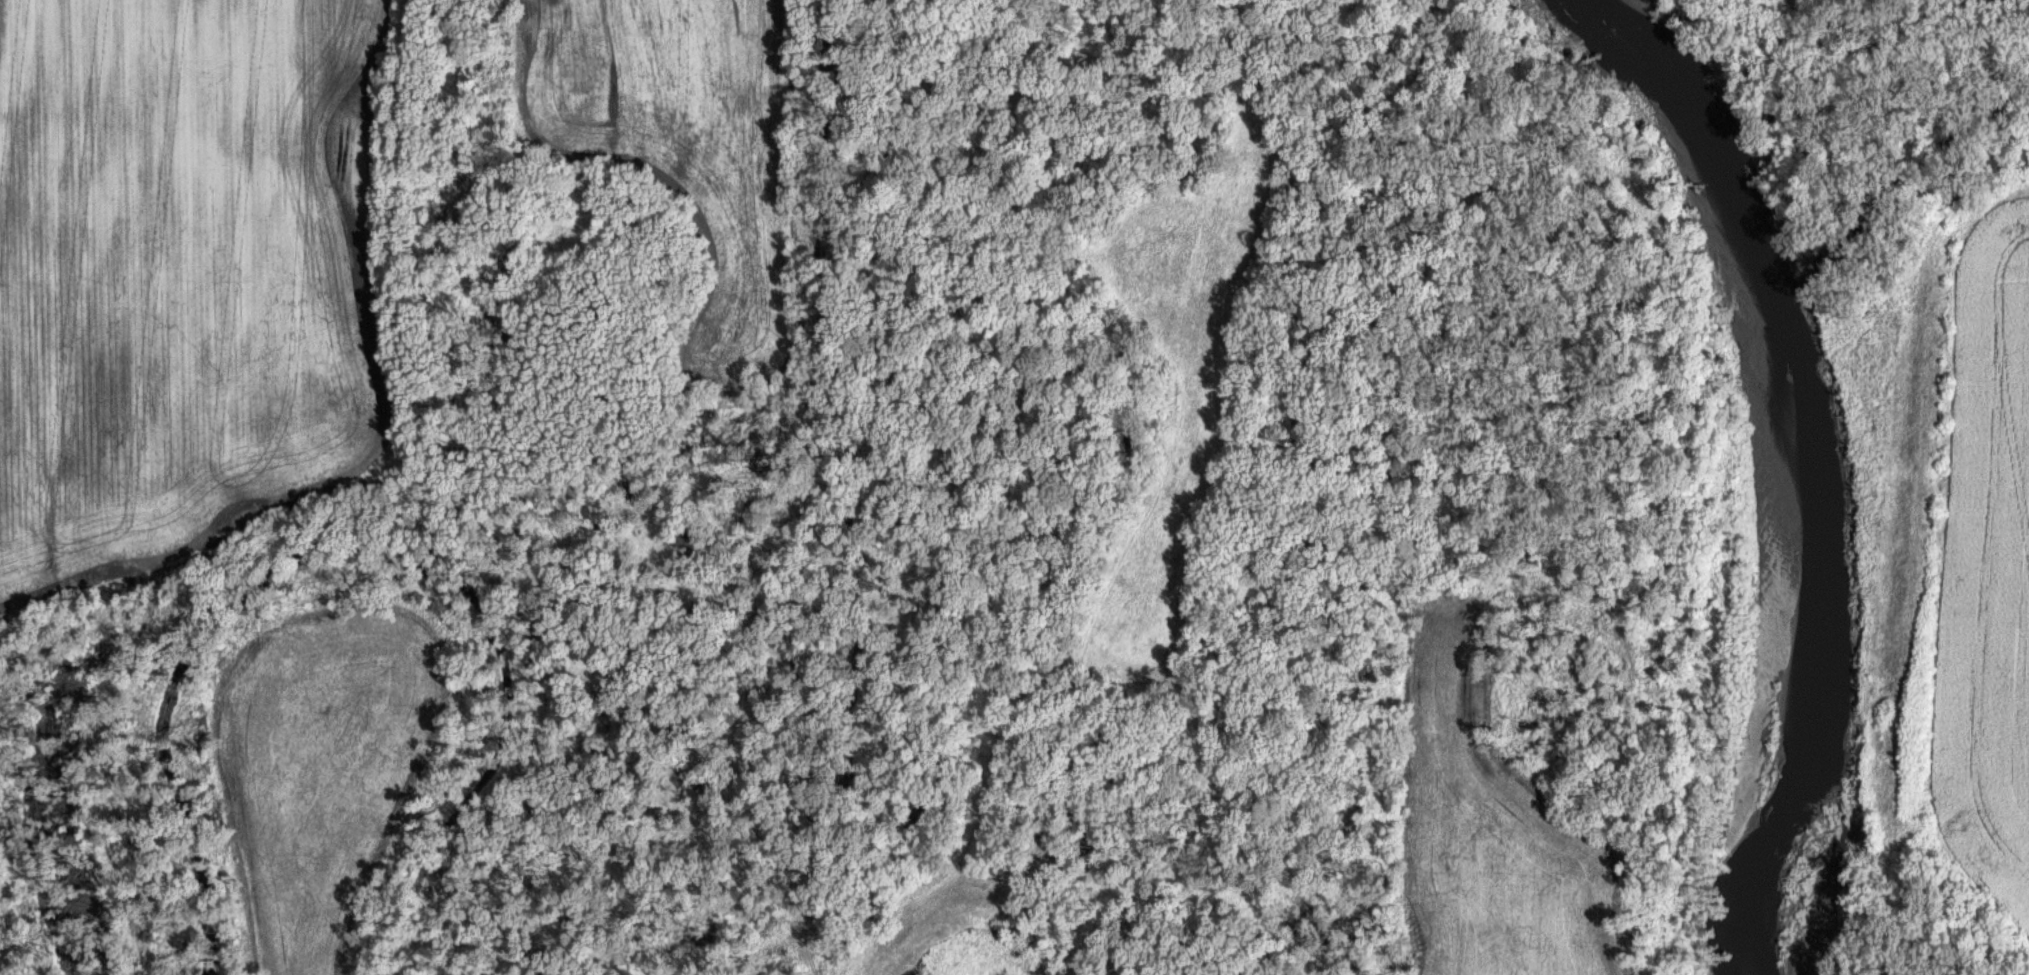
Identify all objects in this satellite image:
river: (1769, 469)

